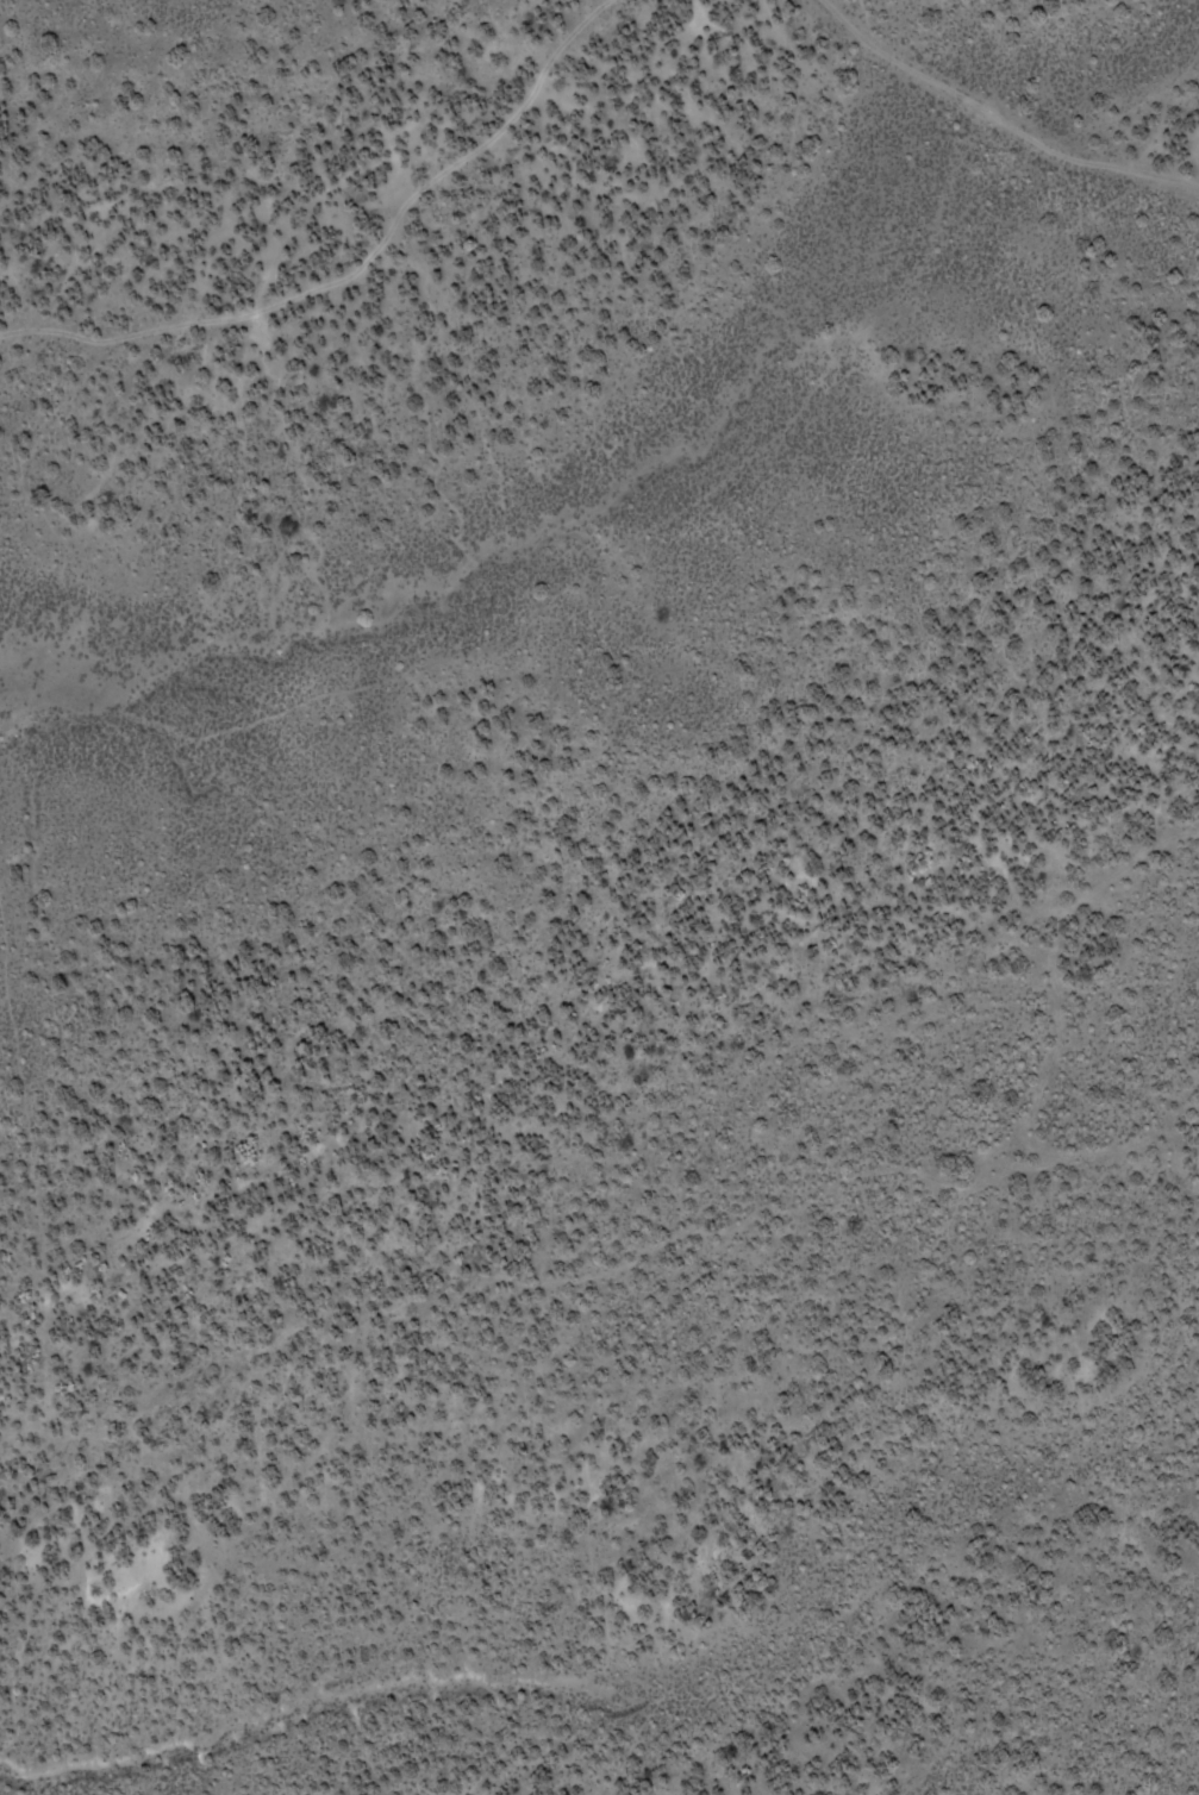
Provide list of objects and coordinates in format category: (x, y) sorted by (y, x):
road: (995, 119)

